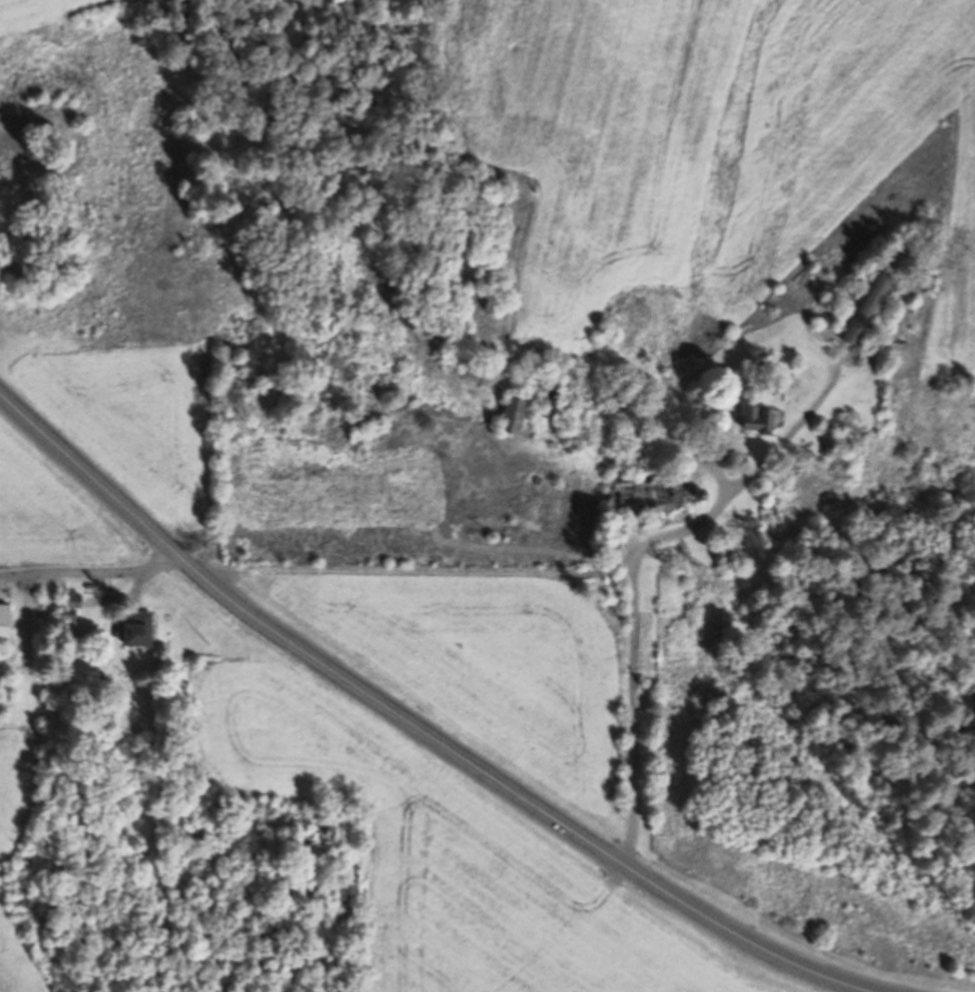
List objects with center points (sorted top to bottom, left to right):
building: (868, 308)
building: (554, 401)
building: (516, 416)
building: (760, 420)
building: (658, 496)
road: (93, 567)
building: (5, 626)
building: (140, 631)
road: (632, 683)
road: (411, 725)

